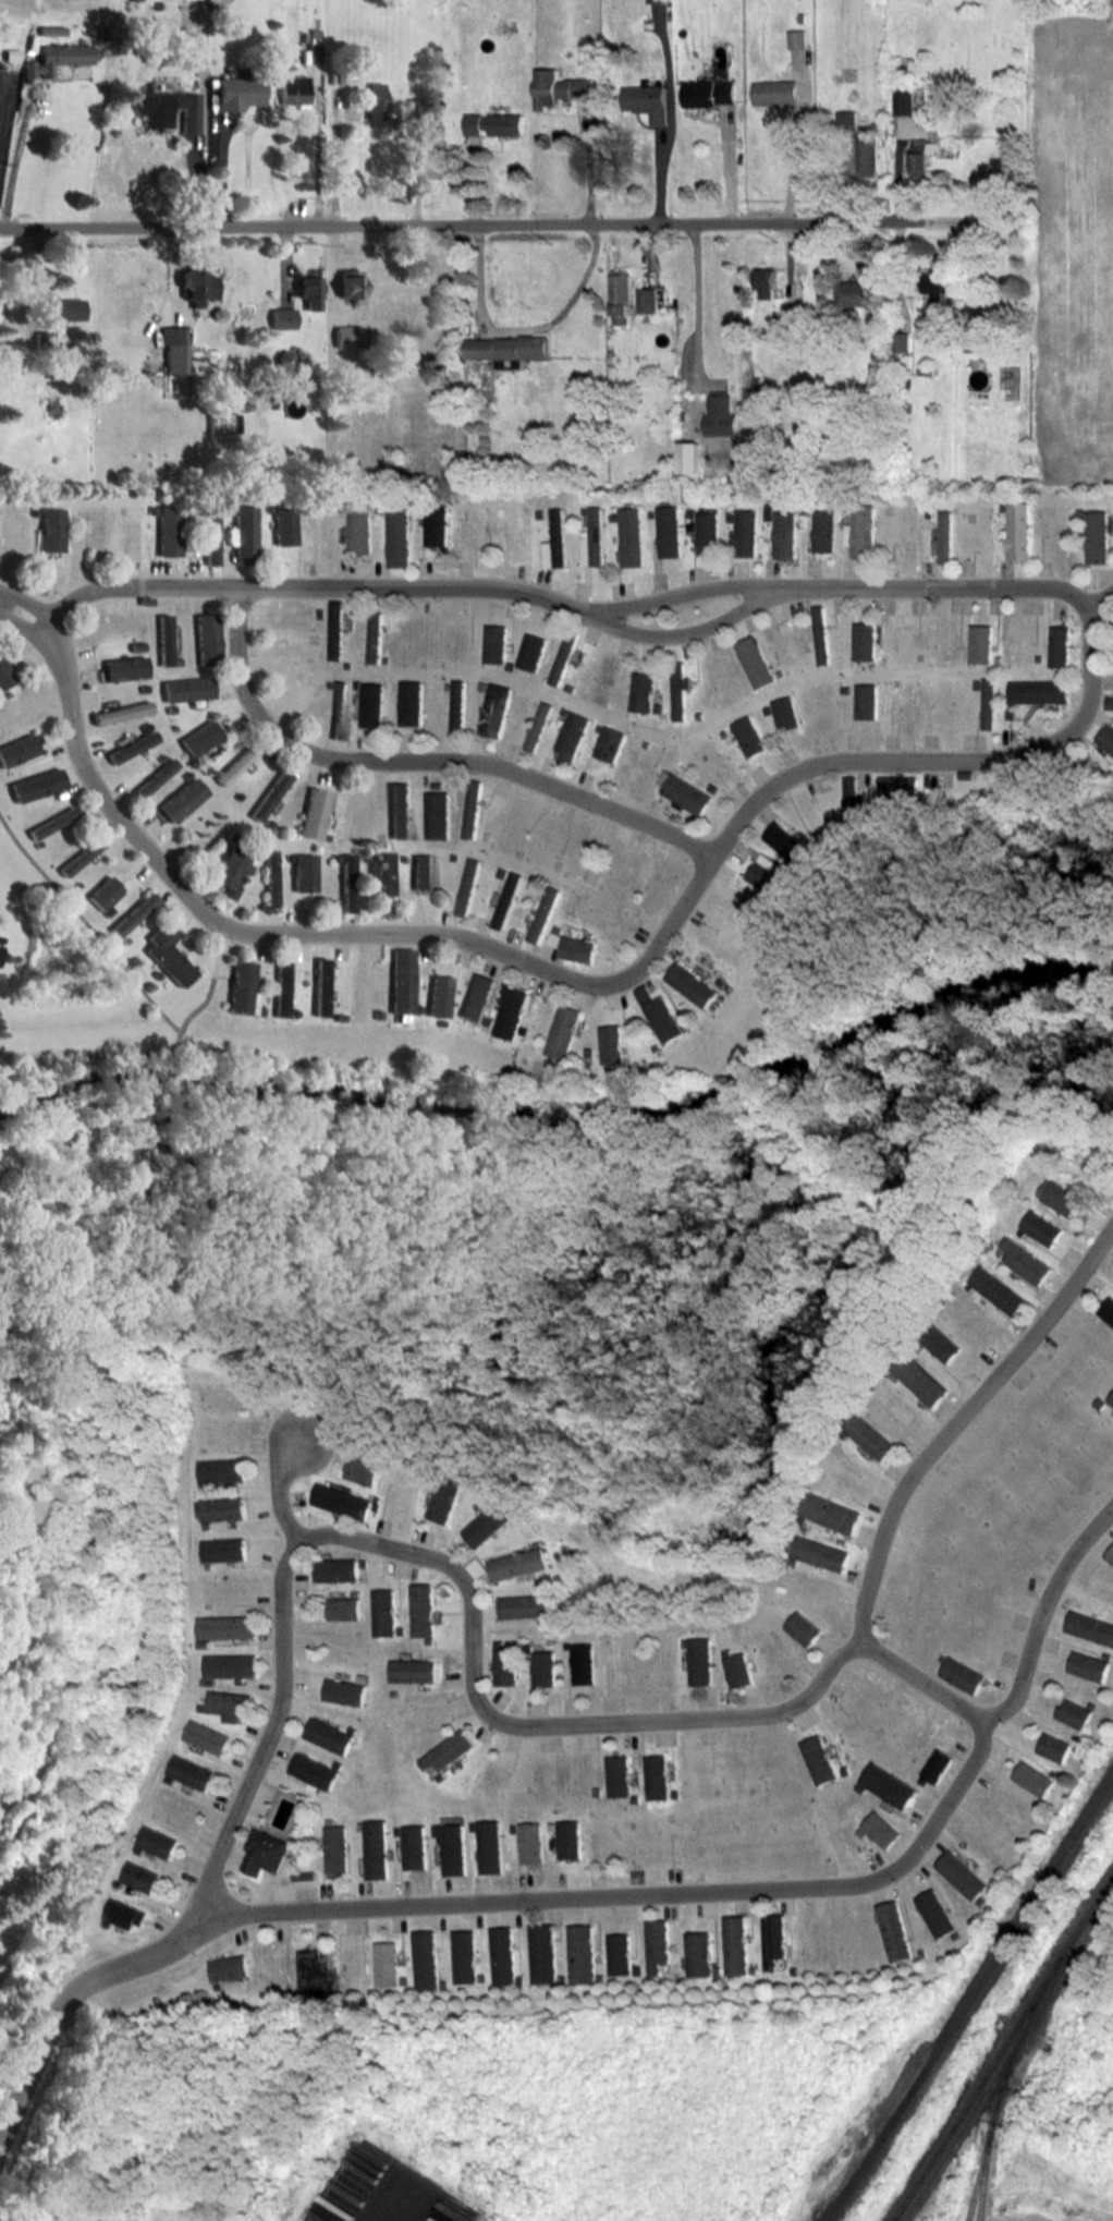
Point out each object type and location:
building: (653, 0)
building: (49, 31)
building: (797, 38)
building: (10, 54)
building: (56, 58)
building: (560, 88)
building: (292, 89)
building: (236, 93)
building: (710, 93)
building: (775, 93)
building: (374, 100)
building: (647, 101)
building: (903, 101)
building: (415, 106)
building: (166, 110)
building: (847, 119)
building: (494, 123)
building: (867, 155)
building: (922, 156)
road: (334, 157)
road: (794, 161)
building: (441, 163)
road: (487, 222)
crop: (1080, 245)
building: (767, 282)
building: (938, 282)
building: (196, 286)
building: (348, 286)
building: (307, 288)
building: (856, 292)
building: (621, 296)
building: (647, 300)
road: (697, 302)
building: (65, 308)
building: (281, 318)
road: (523, 329)
building: (346, 336)
building: (44, 338)
building: (507, 347)
building: (172, 349)
building: (282, 359)
building: (720, 413)
building: (688, 457)
building: (283, 525)
building: (437, 526)
building: (50, 529)
building: (359, 529)
building: (824, 529)
building: (167, 530)
building: (669, 531)
building: (861, 531)
building: (1017, 531)
building: (708, 532)
building: (243, 533)
building: (746, 533)
building: (208, 534)
building: (785, 534)
building: (632, 536)
building: (944, 536)
building: (1096, 536)
building: (399, 537)
building: (594, 539)
building: (555, 541)
road: (282, 586)
road: (953, 586)
road: (678, 593)
road: (1099, 599)
road: (24, 600)
road: (16, 623)
building: (337, 630)
road: (682, 633)
building: (823, 634)
building: (375, 636)
building: (206, 639)
building: (164, 640)
building: (866, 641)
building: (496, 643)
building: (980, 643)
building: (1059, 646)
building: (531, 652)
building: (562, 660)
building: (756, 662)
building: (124, 668)
building: (4, 675)
building: (186, 689)
building: (678, 690)
building: (643, 691)
building: (1039, 691)
building: (869, 701)
building: (412, 703)
building: (990, 703)
building: (1109, 703)
building: (372, 705)
building: (457, 706)
building: (339, 709)
building: (496, 709)
building: (120, 712)
building: (786, 713)
building: (538, 726)
building: (572, 736)
building: (749, 736)
building: (199, 738)
building: (1106, 738)
building: (610, 743)
building: (131, 747)
building: (17, 750)
road: (423, 760)
building: (234, 765)
building: (155, 777)
building: (37, 785)
building: (902, 787)
building: (684, 792)
building: (269, 794)
building: (181, 800)
building: (856, 802)
building: (472, 809)
building: (399, 810)
building: (313, 813)
building: (438, 815)
building: (51, 823)
building: (786, 840)
building: (79, 857)
building: (230, 871)
building: (421, 871)
building: (303, 872)
building: (380, 873)
building: (768, 873)
building: (269, 877)
building: (346, 883)
building: (468, 886)
building: (103, 893)
building: (506, 899)
building: (133, 914)
building: (543, 914)
building: (574, 947)
building: (0, 948)
building: (168, 954)
building: (402, 980)
road: (578, 983)
building: (694, 984)
building: (281, 986)
building: (320, 986)
building: (242, 987)
building: (439, 996)
building: (477, 997)
building: (664, 1015)
building: (510, 1016)
building: (564, 1031)
building: (613, 1044)
building: (1059, 1196)
building: (1041, 1226)
building: (1019, 1231)
building: (986, 1248)
building: (1025, 1260)
building: (967, 1285)
building: (998, 1288)
building: (1108, 1309)
building: (941, 1342)
building: (919, 1344)
building: (893, 1375)
building: (920, 1377)
building: (1111, 1397)
building: (1101, 1401)
road: (959, 1418)
building: (843, 1432)
building: (869, 1434)
building: (407, 1458)
building: (364, 1467)
building: (222, 1469)
building: (440, 1473)
building: (204, 1485)
road: (279, 1490)
building: (448, 1497)
building: (343, 1500)
building: (491, 1502)
building: (377, 1504)
building: (222, 1507)
building: (830, 1510)
building: (802, 1518)
building: (490, 1522)
building: (206, 1525)
building: (540, 1542)
building: (223, 1549)
building: (820, 1552)
building: (1110, 1553)
building: (792, 1558)
building: (363, 1561)
building: (519, 1563)
building: (208, 1564)
building: (478, 1567)
building: (335, 1568)
building: (808, 1582)
building: (781, 1586)
building: (545, 1589)
building: (354, 1592)
building: (525, 1604)
building: (343, 1606)
building: (423, 1609)
building: (383, 1611)
road: (1040, 1612)
building: (225, 1626)
building: (1090, 1626)
building: (803, 1627)
building: (400, 1629)
building: (429, 1639)
building: (684, 1641)
building: (203, 1642)
building: (500, 1642)
building: (568, 1643)
building: (528, 1647)
building: (726, 1651)
building: (1106, 1654)
building: (942, 1656)
building: (701, 1660)
building: (585, 1662)
building: (230, 1664)
building: (506, 1664)
building: (1088, 1664)
building: (546, 1667)
building: (738, 1668)
building: (413, 1670)
building: (962, 1673)
building: (362, 1676)
road: (919, 1678)
building: (208, 1679)
building: (344, 1690)
building: (393, 1691)
building: (229, 1703)
building: (1090, 1703)
building: (200, 1706)
building: (1074, 1712)
building: (420, 1713)
road: (526, 1725)
building: (352, 1727)
road: (269, 1733)
building: (407, 1733)
building: (328, 1734)
building: (206, 1735)
building: (1053, 1745)
building: (449, 1750)
building: (819, 1758)
building: (337, 1762)
building: (935, 1763)
building: (845, 1769)
building: (189, 1770)
building: (314, 1770)
building: (1053, 1771)
building: (619, 1775)
building: (657, 1776)
building: (168, 1777)
building: (1033, 1777)
building: (888, 1783)
building: (860, 1785)
building: (881, 1828)
building: (861, 1831)
building: (570, 1841)
building: (155, 1842)
building: (531, 1843)
building: (456, 1846)
building: (490, 1847)
building: (415, 1848)
building: (335, 1849)
building: (377, 1849)
building: (261, 1852)
building: (962, 1873)
building: (302, 1874)
building: (137, 1877)
road: (634, 1894)
building: (979, 1898)
building: (935, 1911)
building: (122, 1914)
building: (893, 1929)
building: (955, 1933)
building: (771, 1938)
building: (734, 1942)
building: (656, 1945)
building: (920, 1951)
building: (697, 1952)
building: (542, 1953)
building: (580, 1953)
building: (617, 1954)
building: (464, 1956)
building: (502, 1957)
building: (425, 1959)
building: (386, 1963)
building: (227, 1967)
building: (750, 1967)
building: (714, 1968)
building: (313, 1969)
building: (792, 1969)
railway: (969, 1999)
road: (66, 2001)
railway: (1001, 2048)
railway: (994, 2102)
railway: (853, 2157)
railway: (983, 2173)

